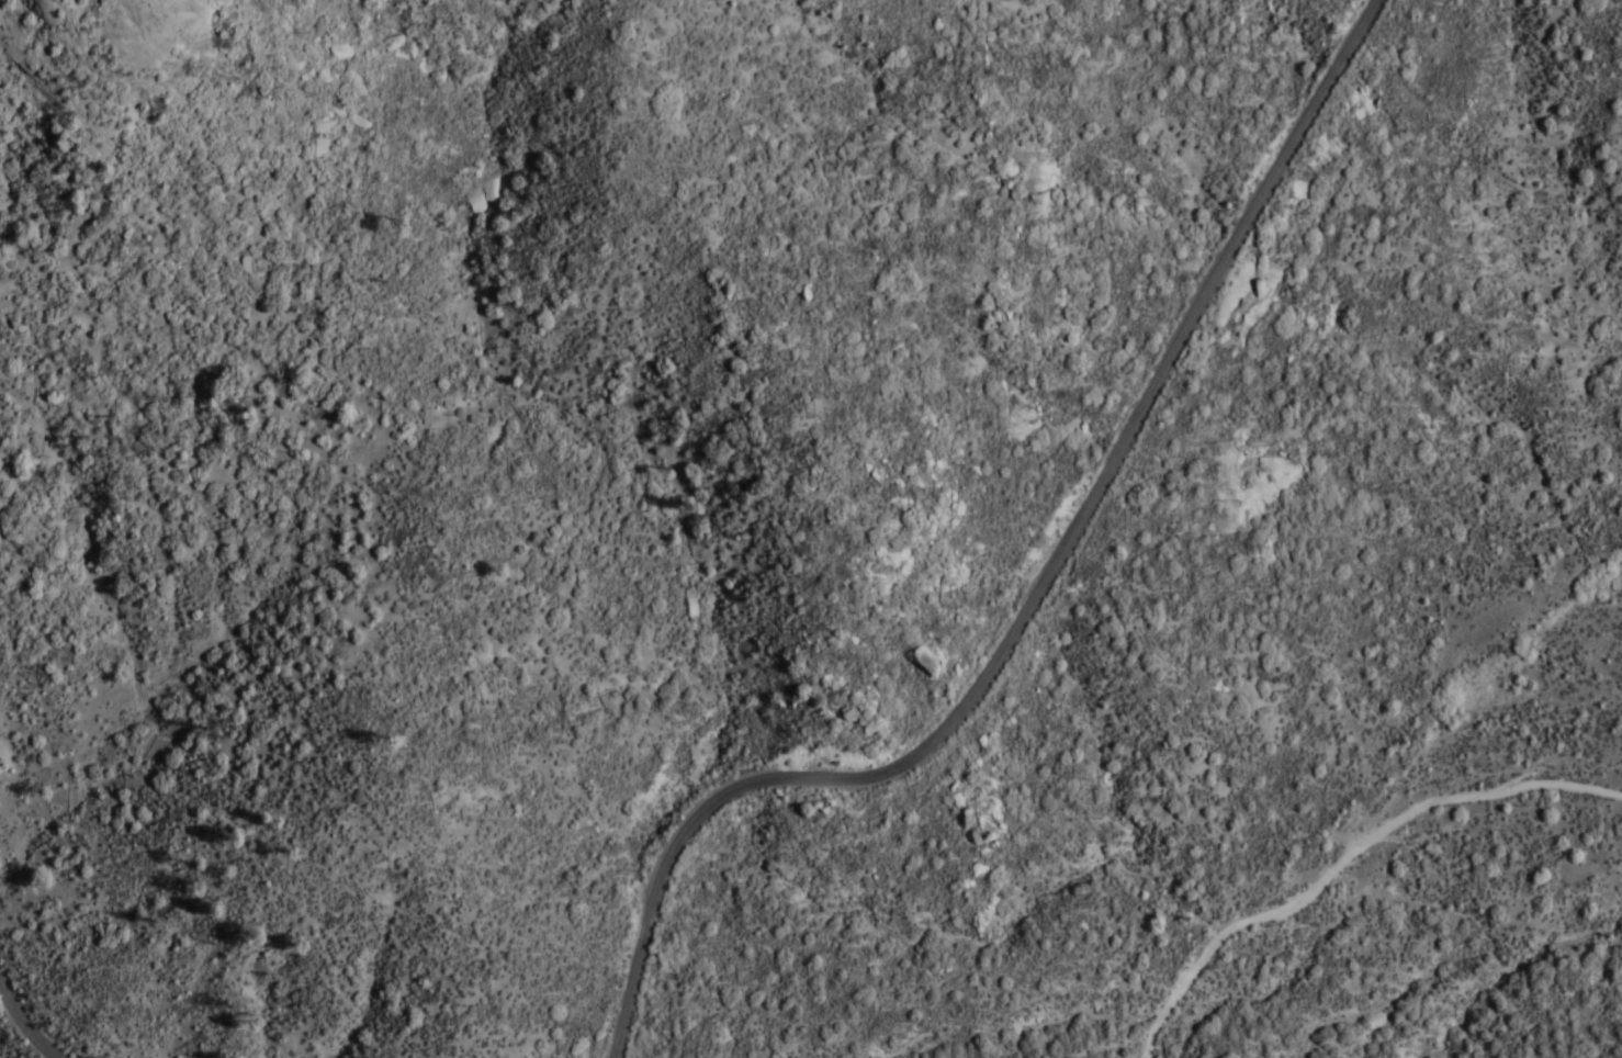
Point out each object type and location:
road: (1030, 605)
road: (1356, 876)
road: (26, 1018)

